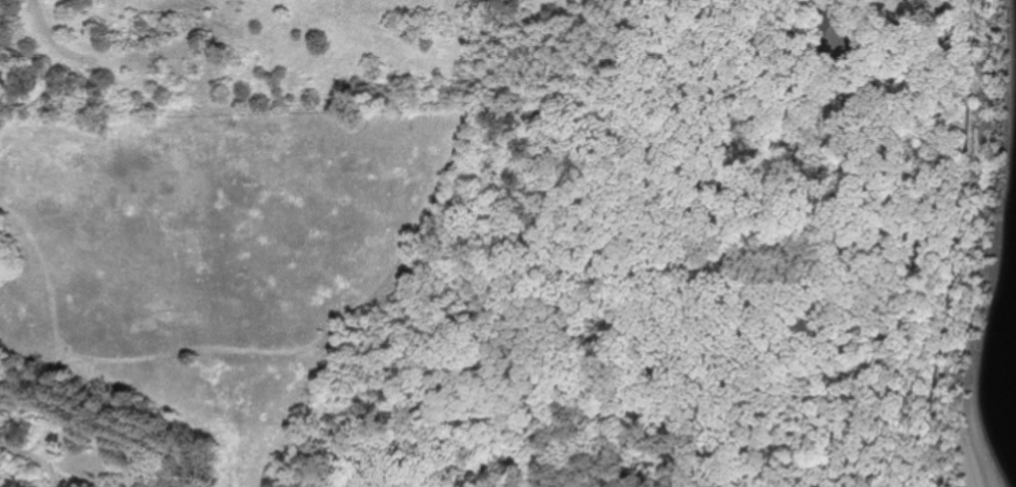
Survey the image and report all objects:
road: (825, 4)
road: (449, 174)
park: (499, 296)
road: (49, 336)

